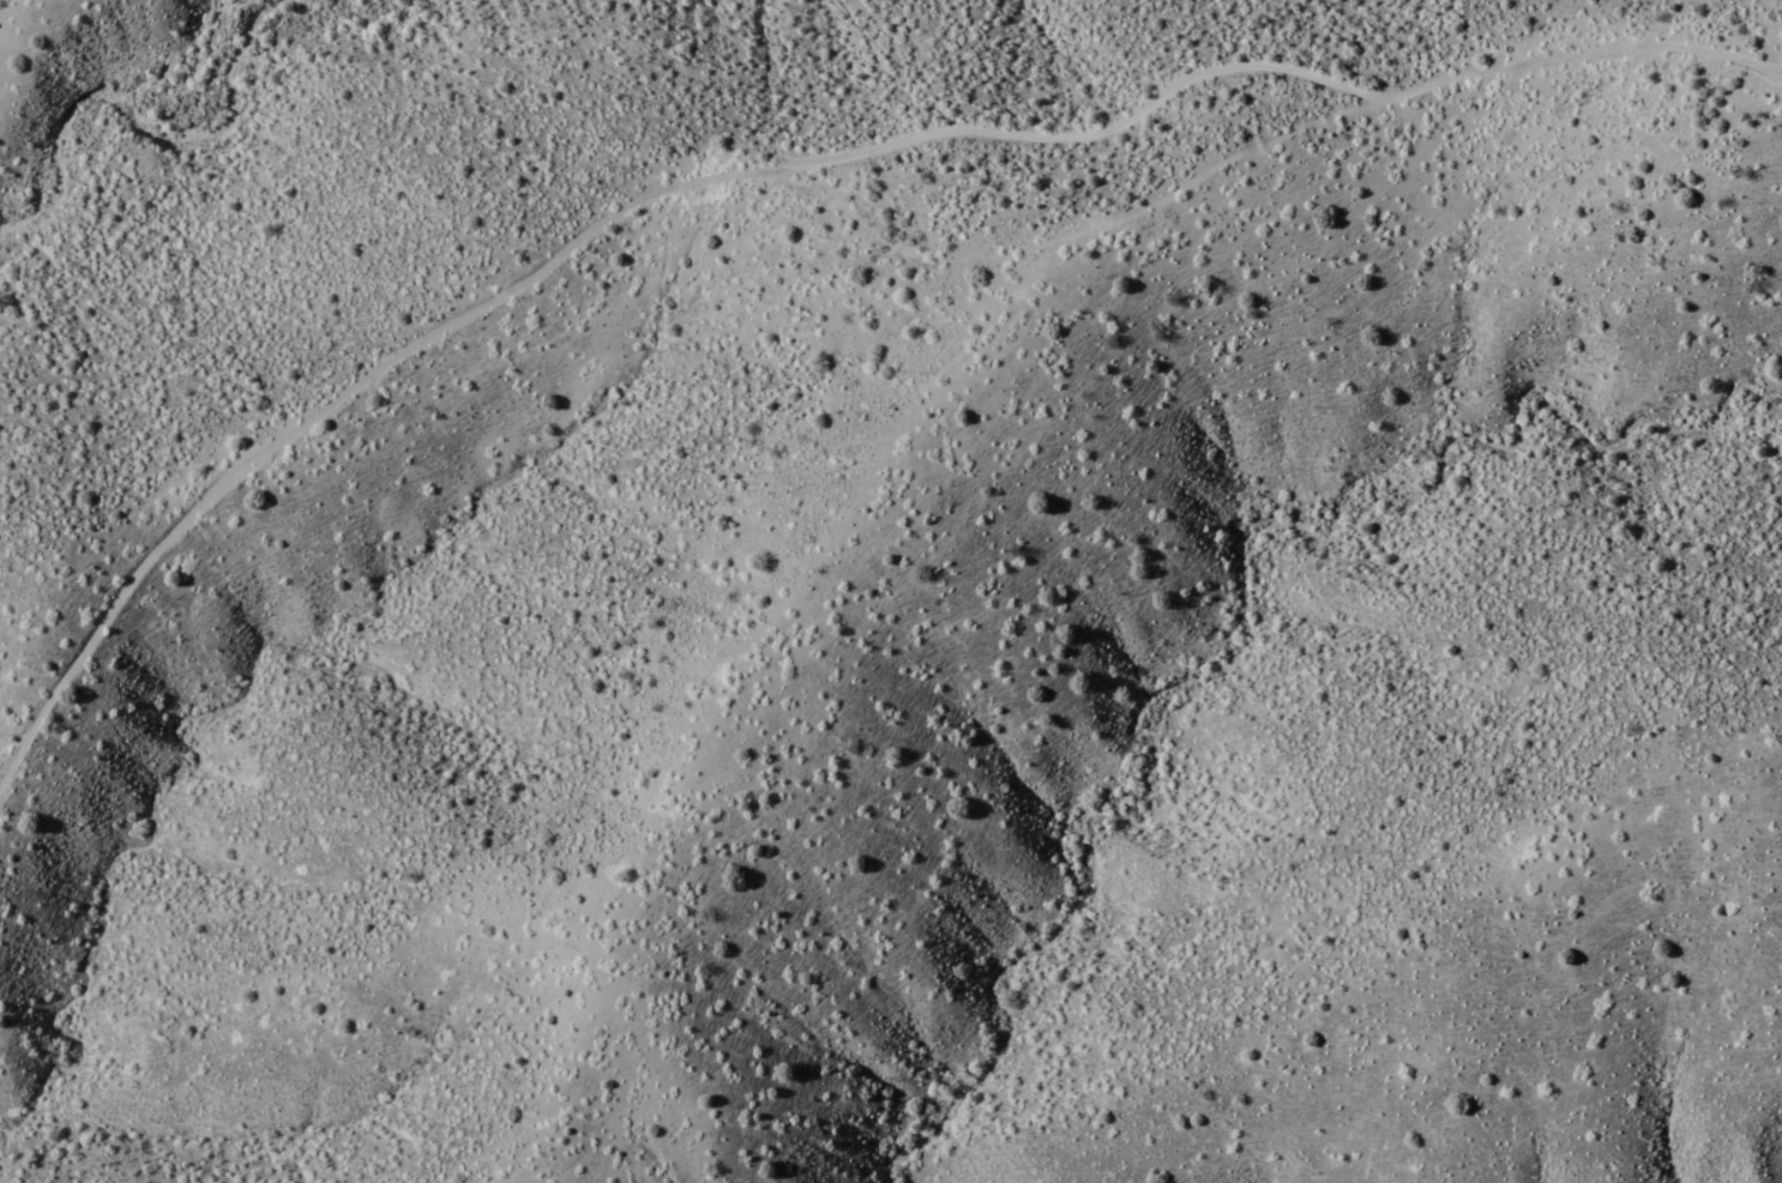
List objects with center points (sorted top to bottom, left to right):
road: (787, 169)

